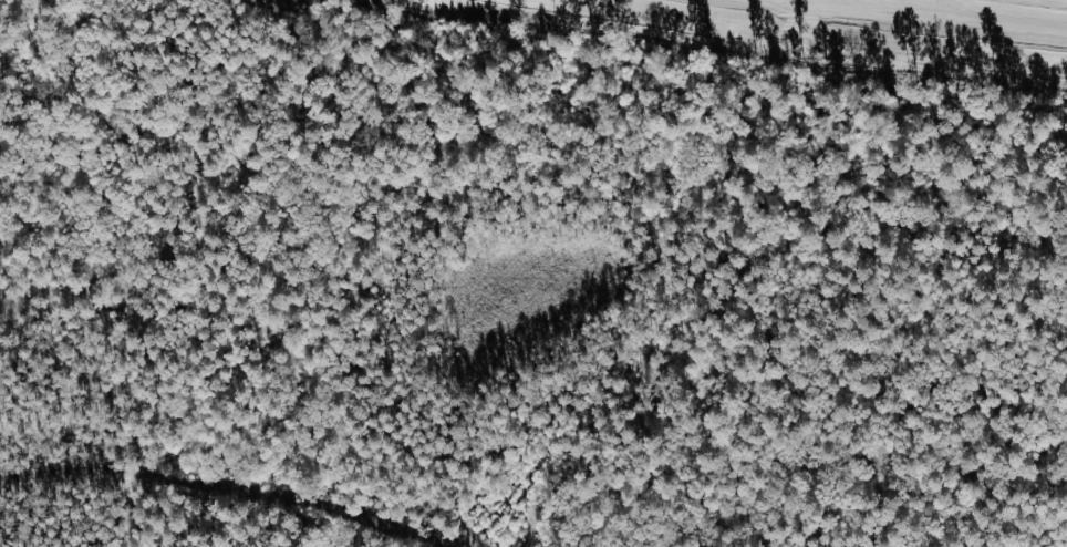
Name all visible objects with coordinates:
road: (793, 35)

